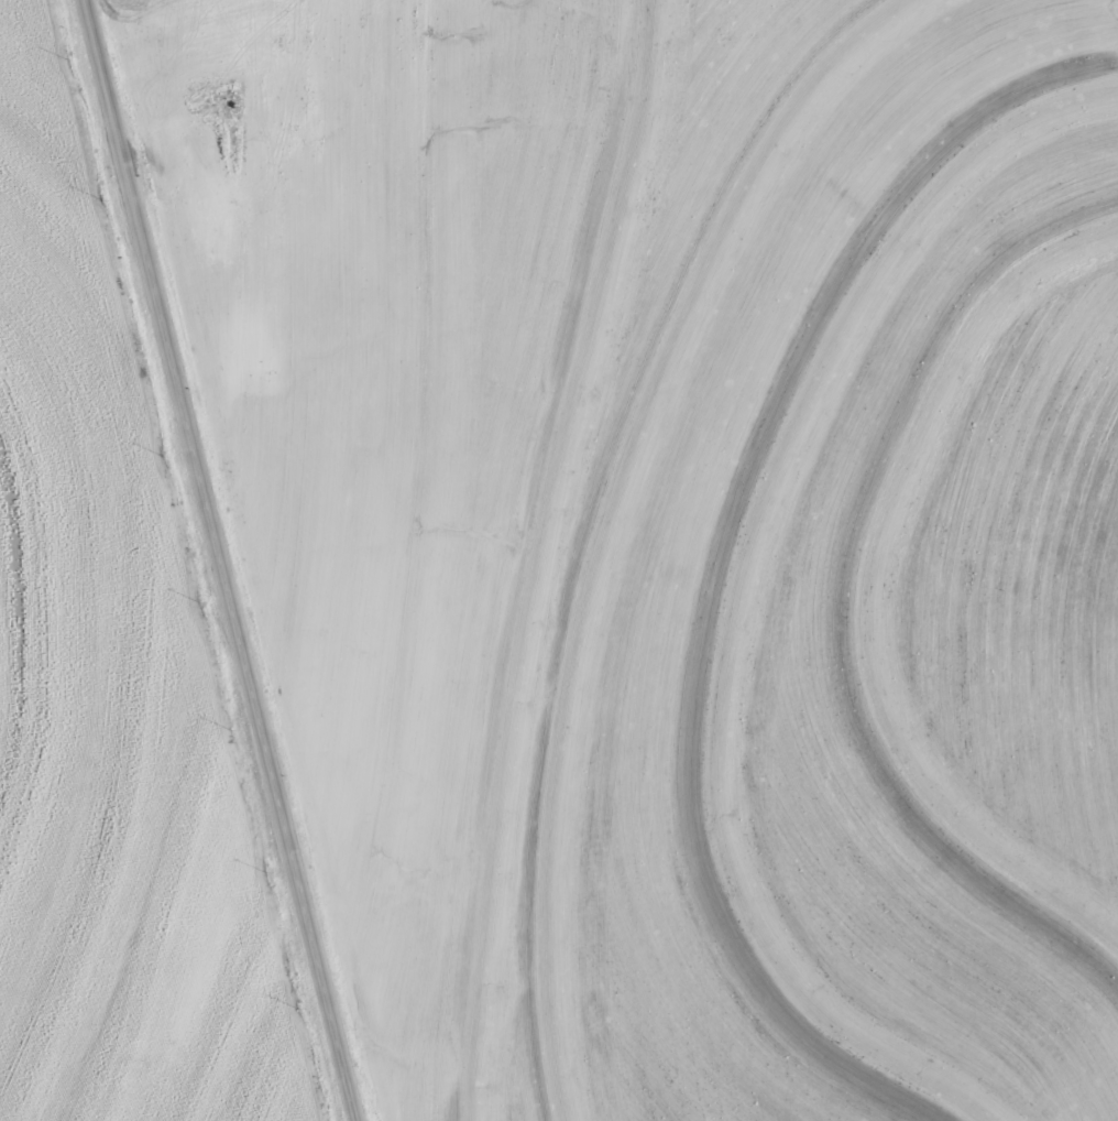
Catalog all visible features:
road: (223, 560)

